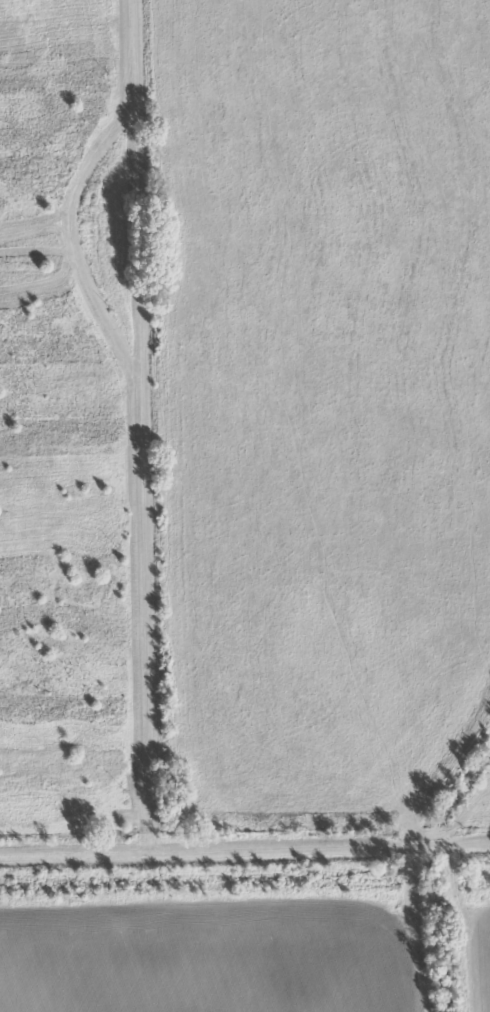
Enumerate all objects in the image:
road: (245, 845)

